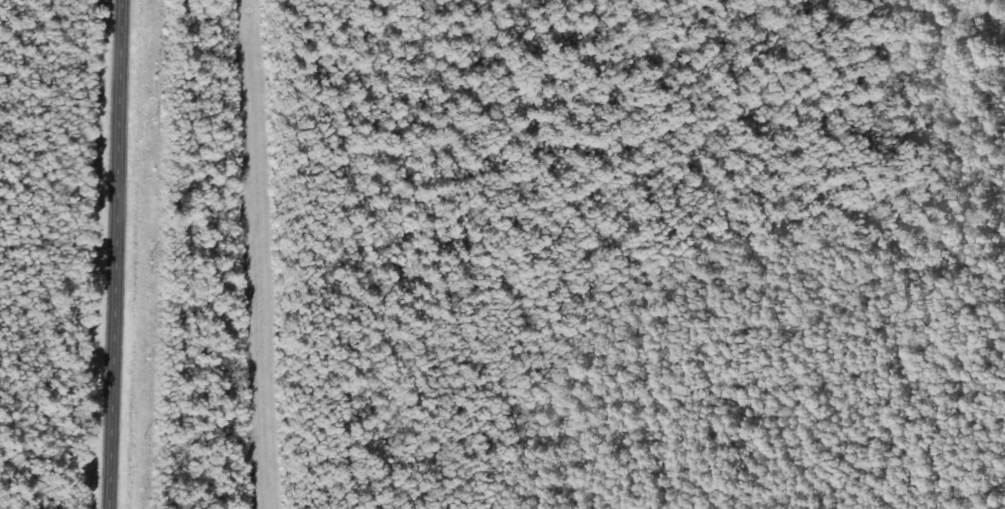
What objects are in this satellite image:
road: (117, 254)

